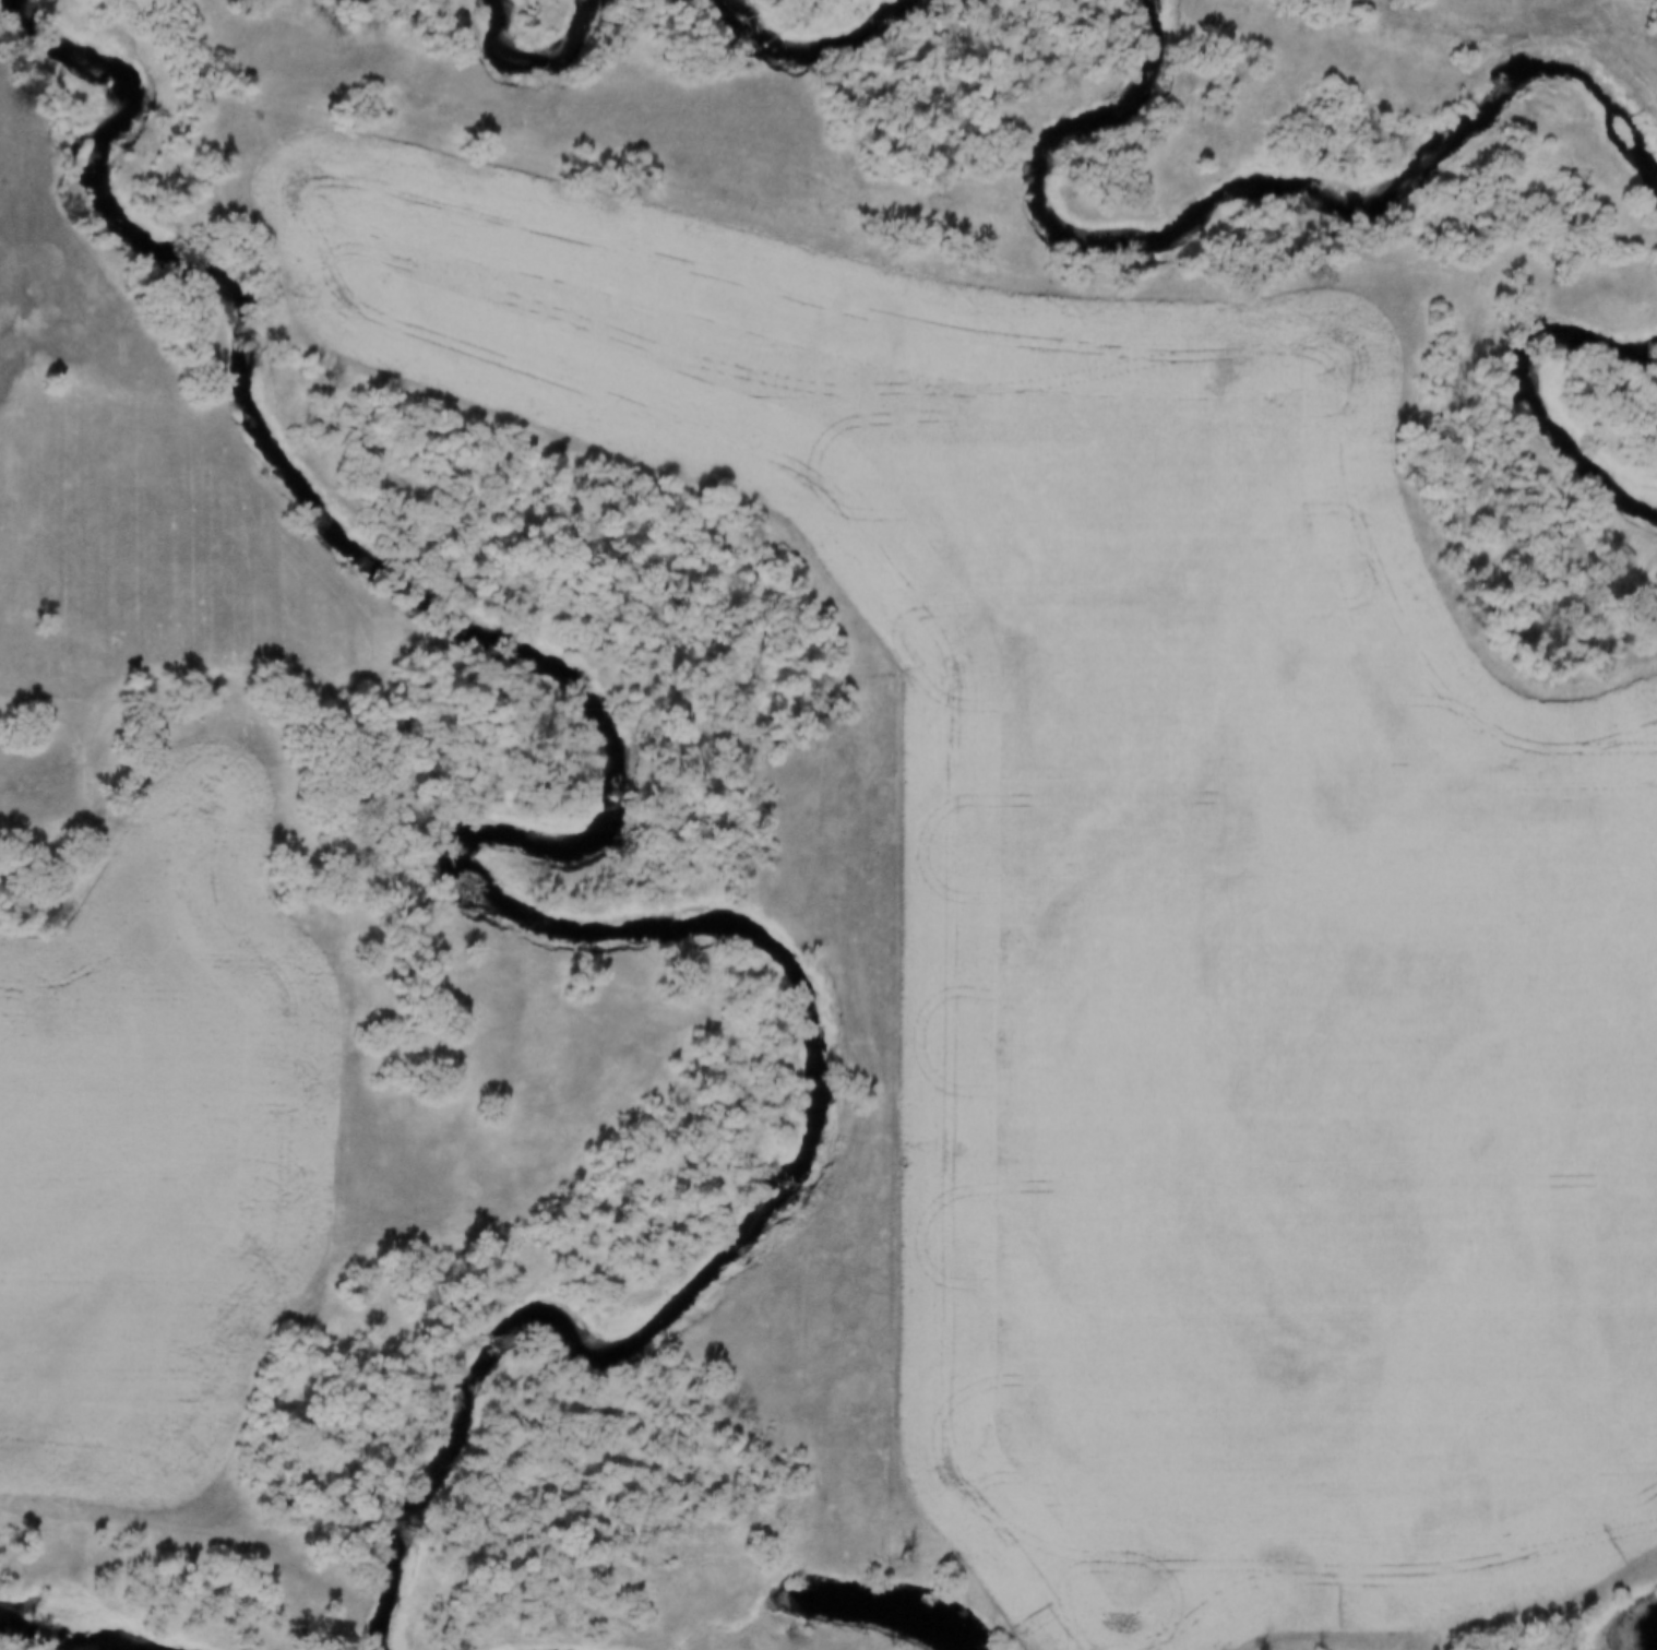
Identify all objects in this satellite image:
river: (821, 39)
river: (546, 61)
river: (121, 63)
river: (1262, 182)
river: (1541, 399)

